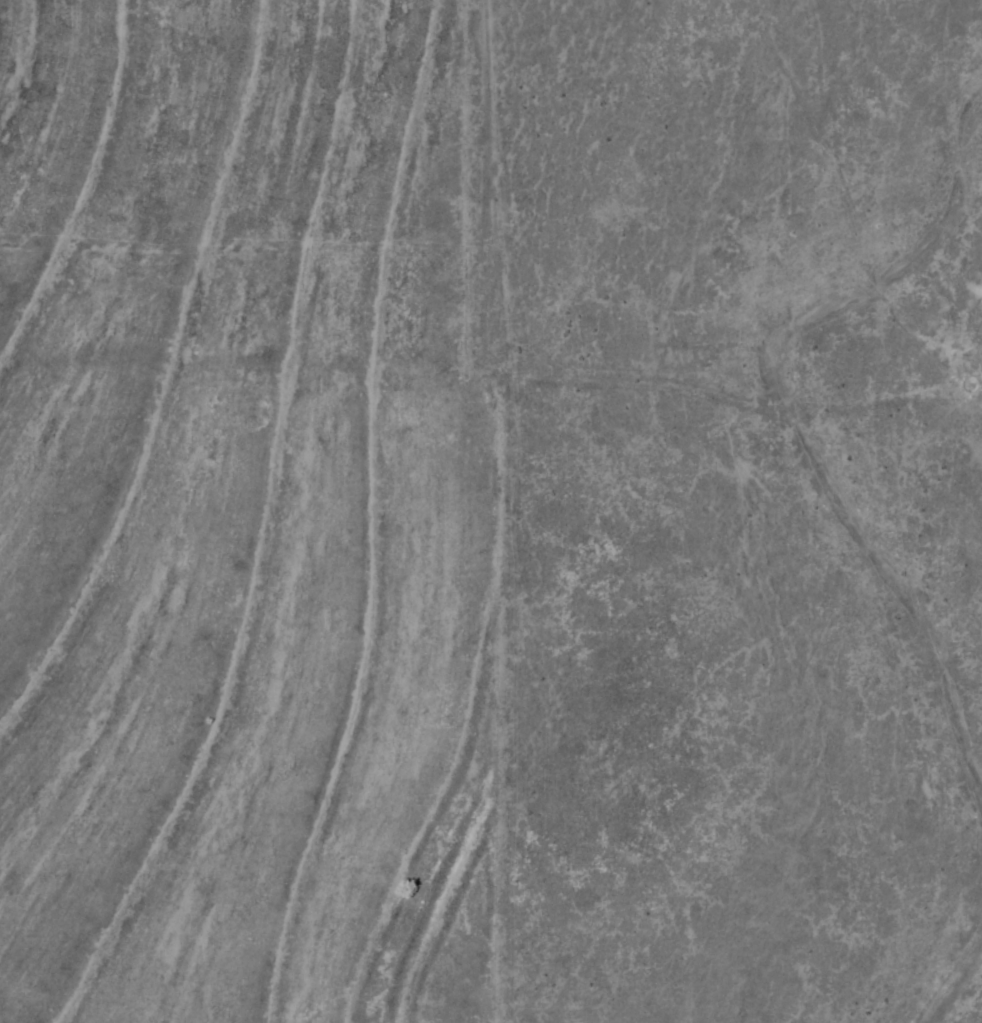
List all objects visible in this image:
road: (628, 325)

